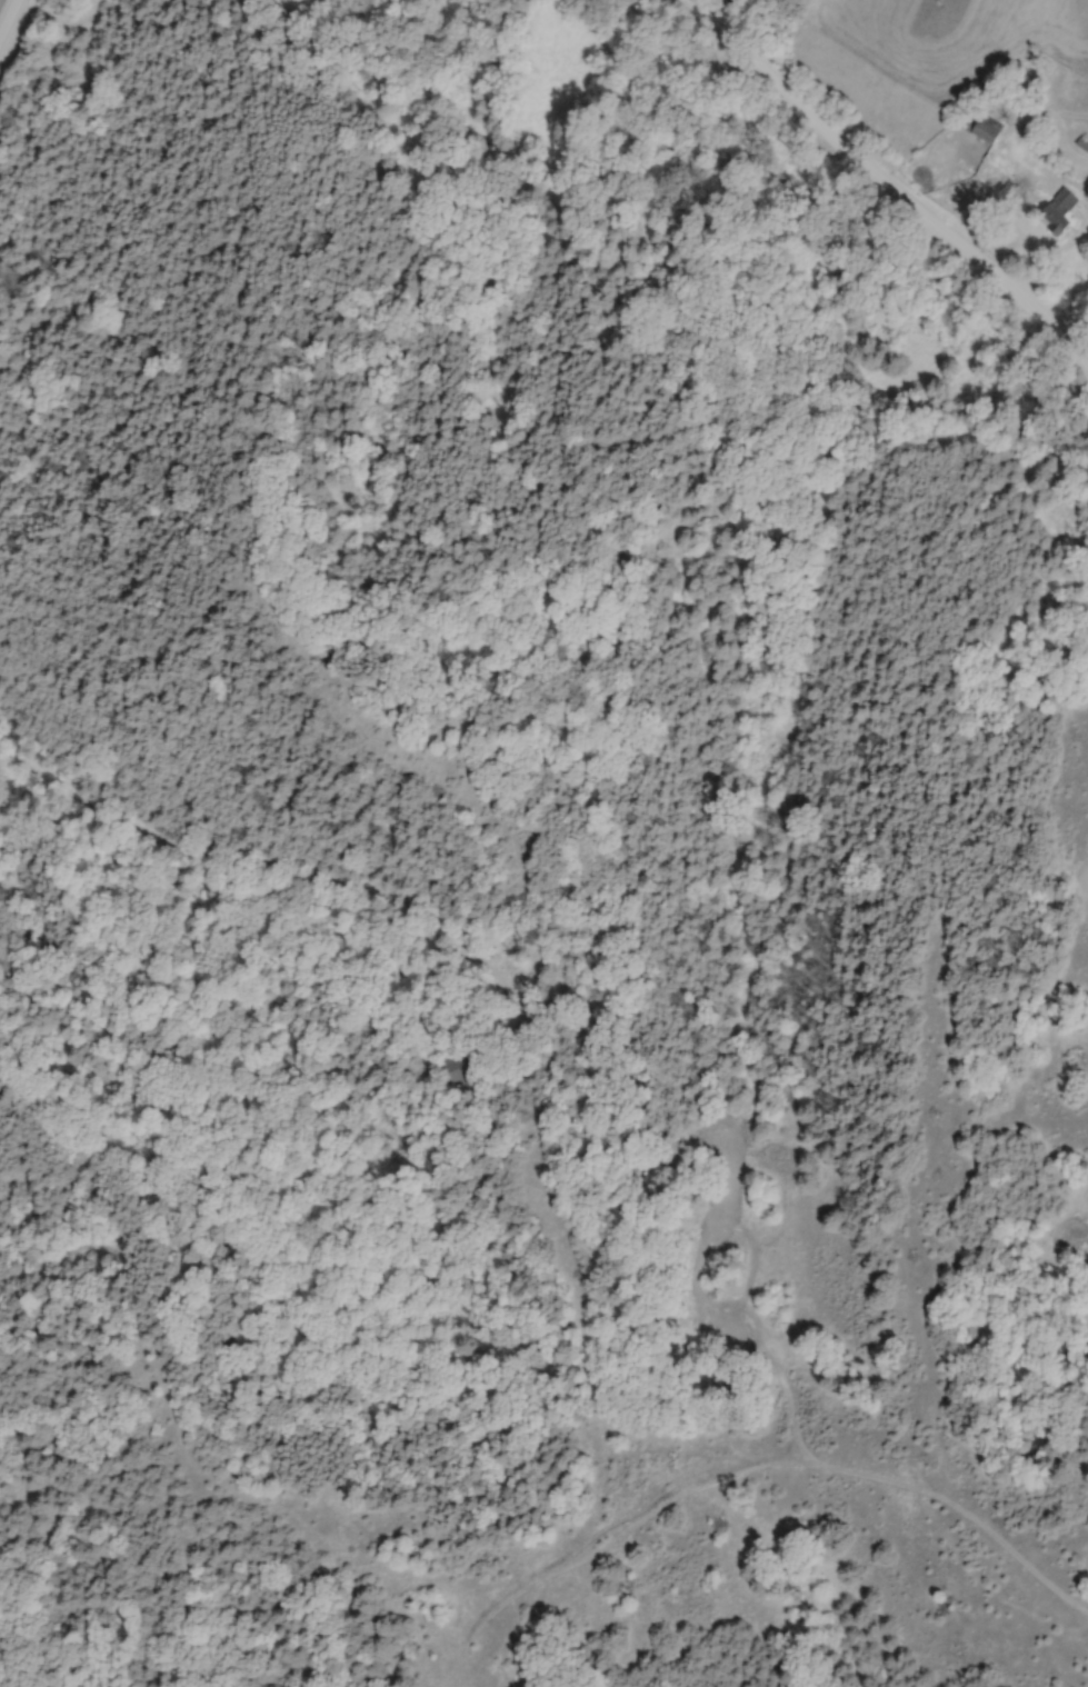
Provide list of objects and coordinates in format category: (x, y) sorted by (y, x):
road: (9, 19)
building: (990, 129)
road: (885, 187)
building: (1060, 211)
road: (1084, 214)
road: (1051, 262)
road: (1086, 369)
road: (292, 869)

